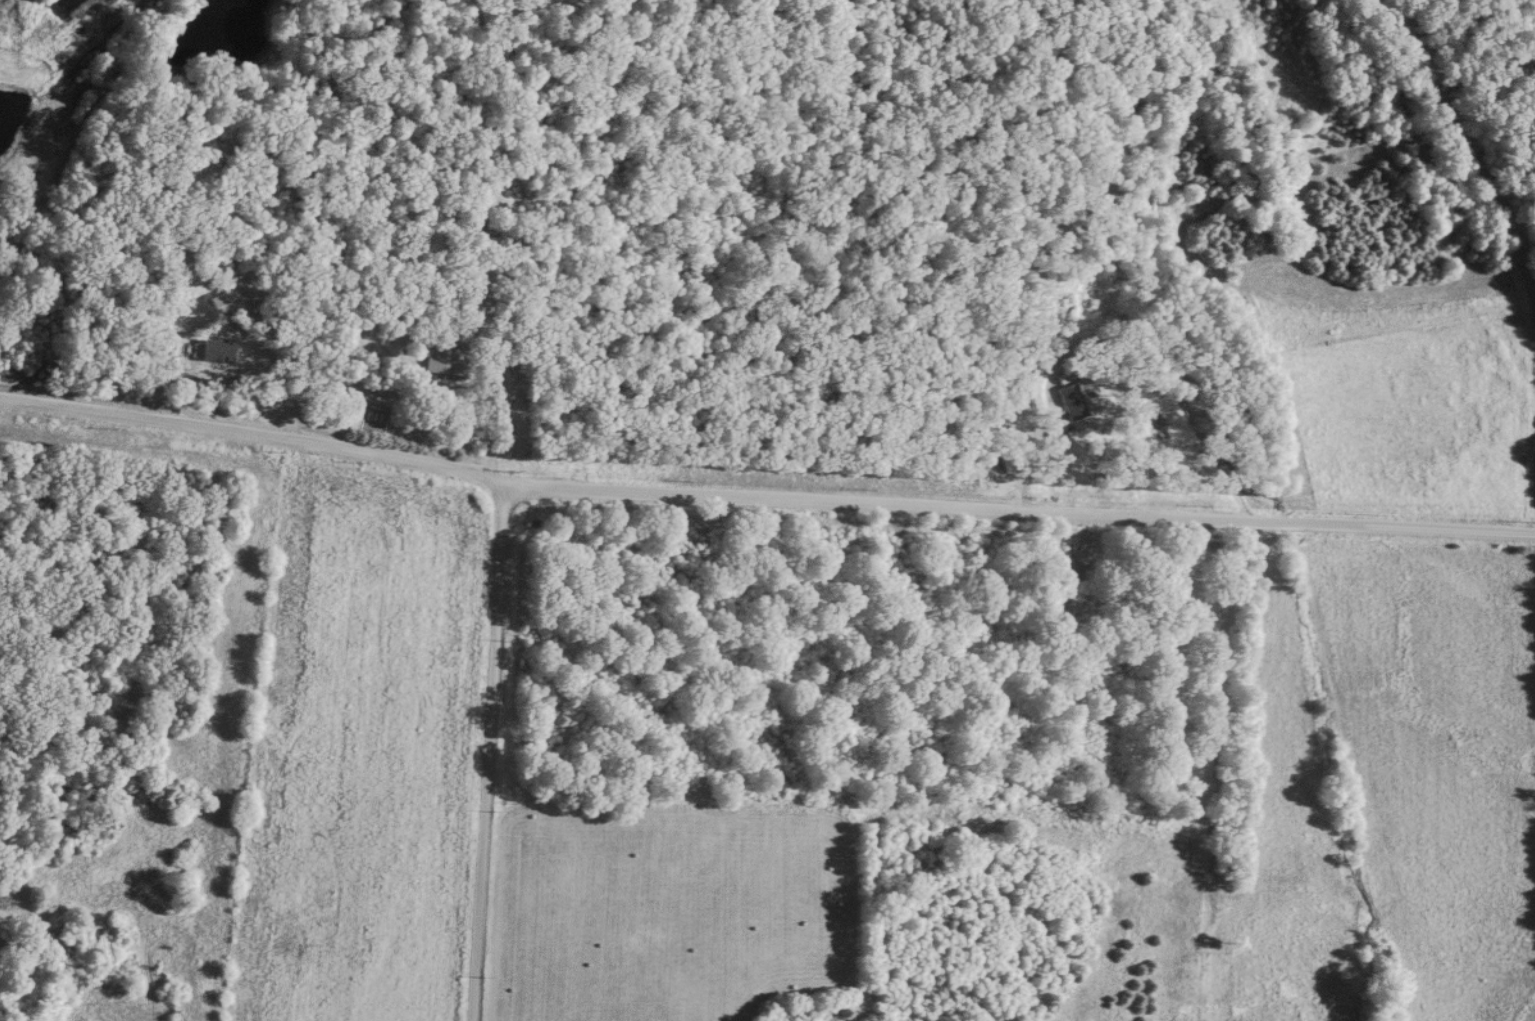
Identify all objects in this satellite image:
building: (496, 237)
building: (439, 360)
road: (290, 363)
road: (494, 384)
building: (1071, 404)
building: (1008, 463)
road: (764, 499)
road: (492, 753)

